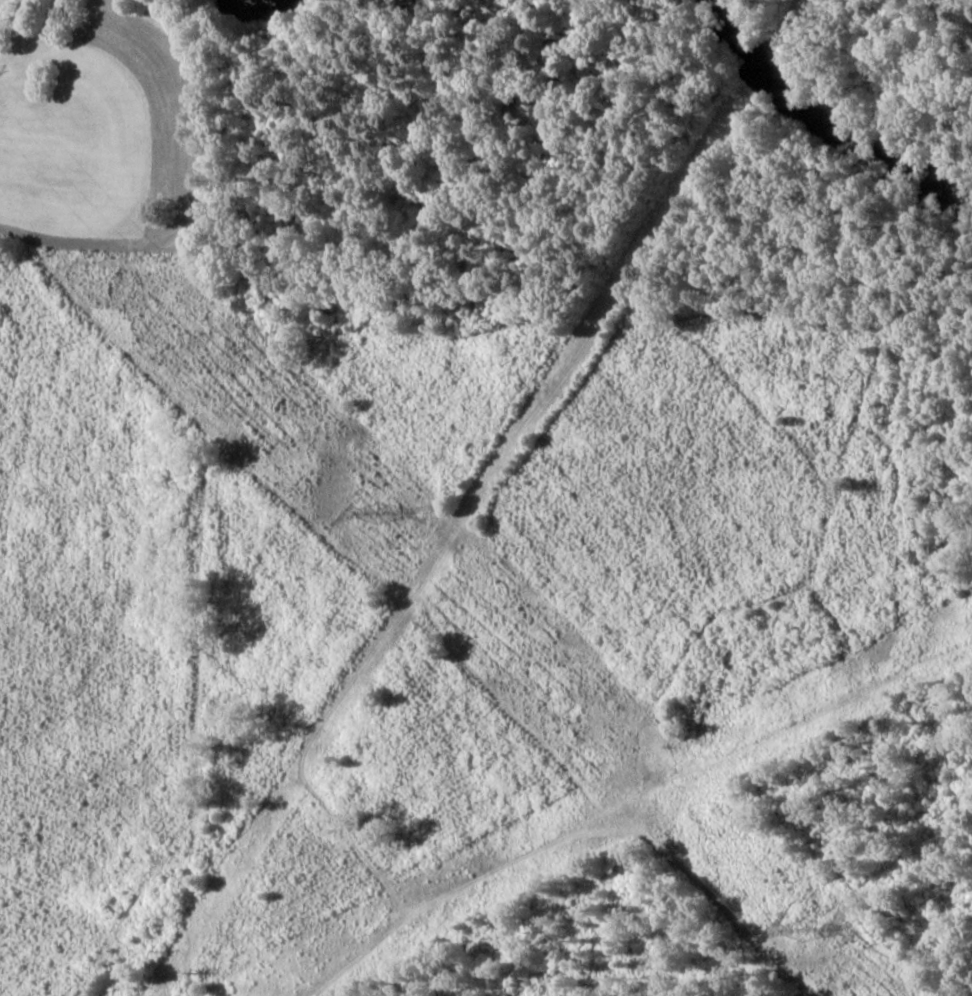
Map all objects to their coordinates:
power tower: (373, 515)
power tower: (803, 930)

